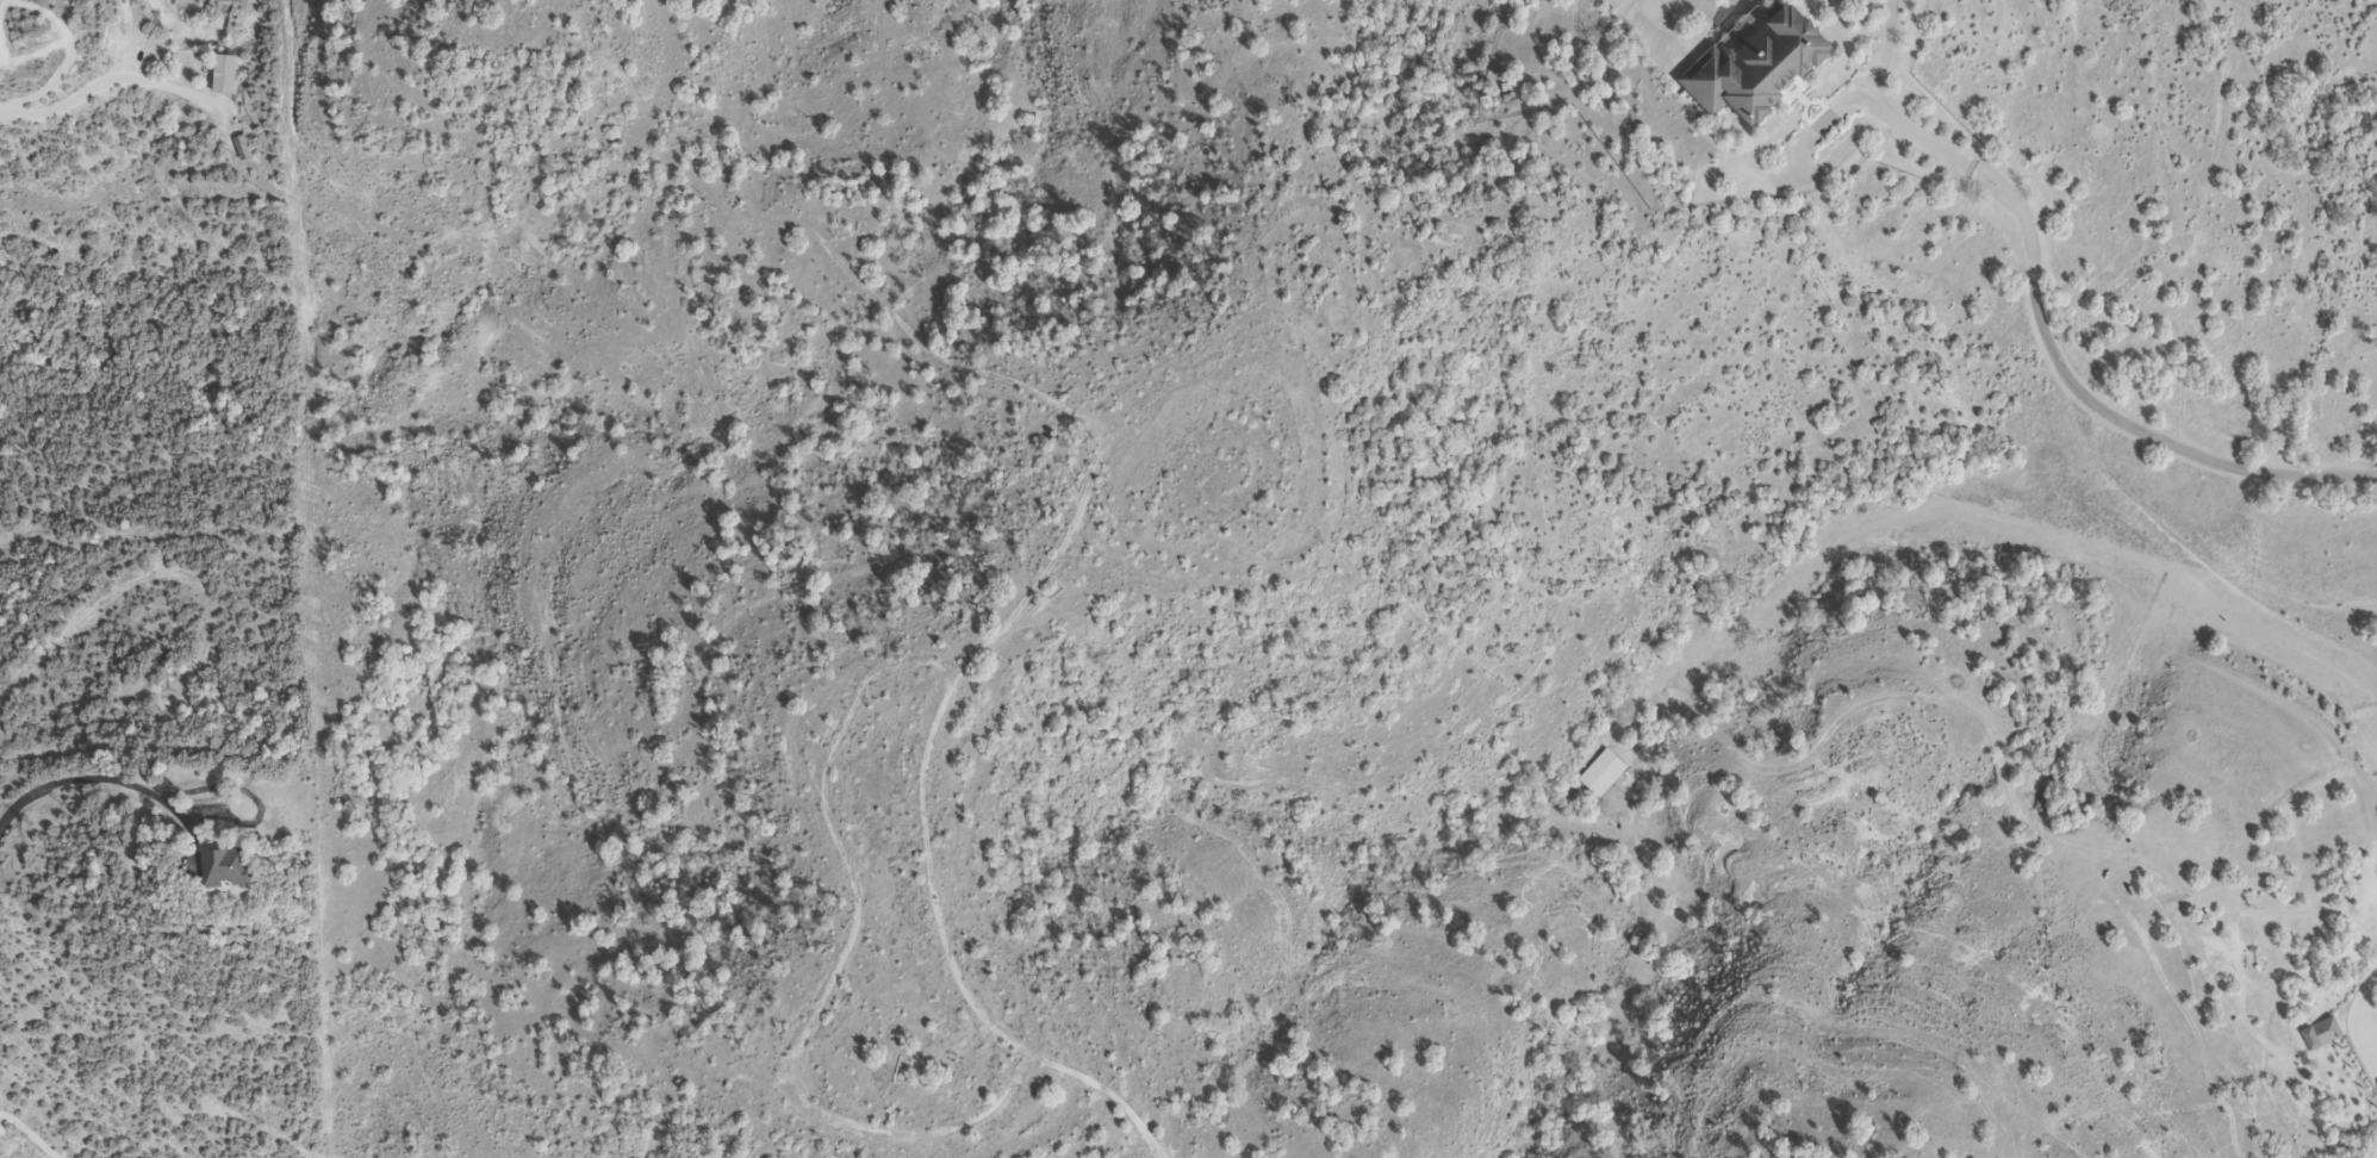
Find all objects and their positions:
building: (1755, 66)
road: (107, 76)
building: (223, 76)
road: (2058, 361)
building: (1601, 776)
road: (67, 777)
building: (228, 871)
building: (2320, 1036)
road: (31, 1133)

